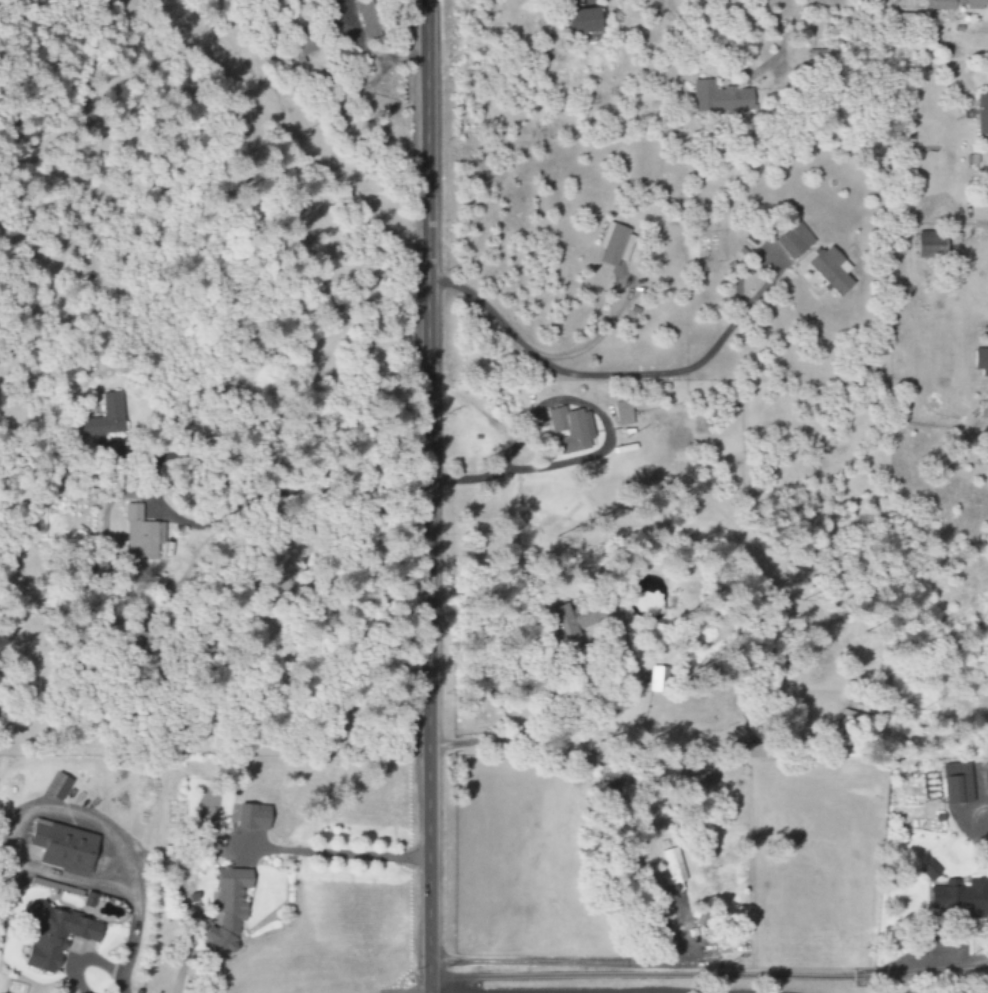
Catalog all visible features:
building: (957, 4)
building: (367, 13)
building: (585, 21)
building: (303, 48)
building: (722, 98)
building: (983, 114)
building: (796, 241)
building: (612, 244)
building: (932, 245)
building: (833, 270)
building: (982, 361)
building: (984, 410)
building: (624, 413)
building: (106, 417)
building: (572, 430)
road: (426, 496)
building: (143, 536)
building: (561, 625)
building: (659, 679)
road: (574, 735)
building: (753, 750)
building: (959, 782)
building: (254, 816)
building: (64, 846)
road: (330, 854)
building: (674, 872)
building: (955, 891)
building: (90, 899)
building: (229, 907)
building: (58, 935)
road: (662, 991)

